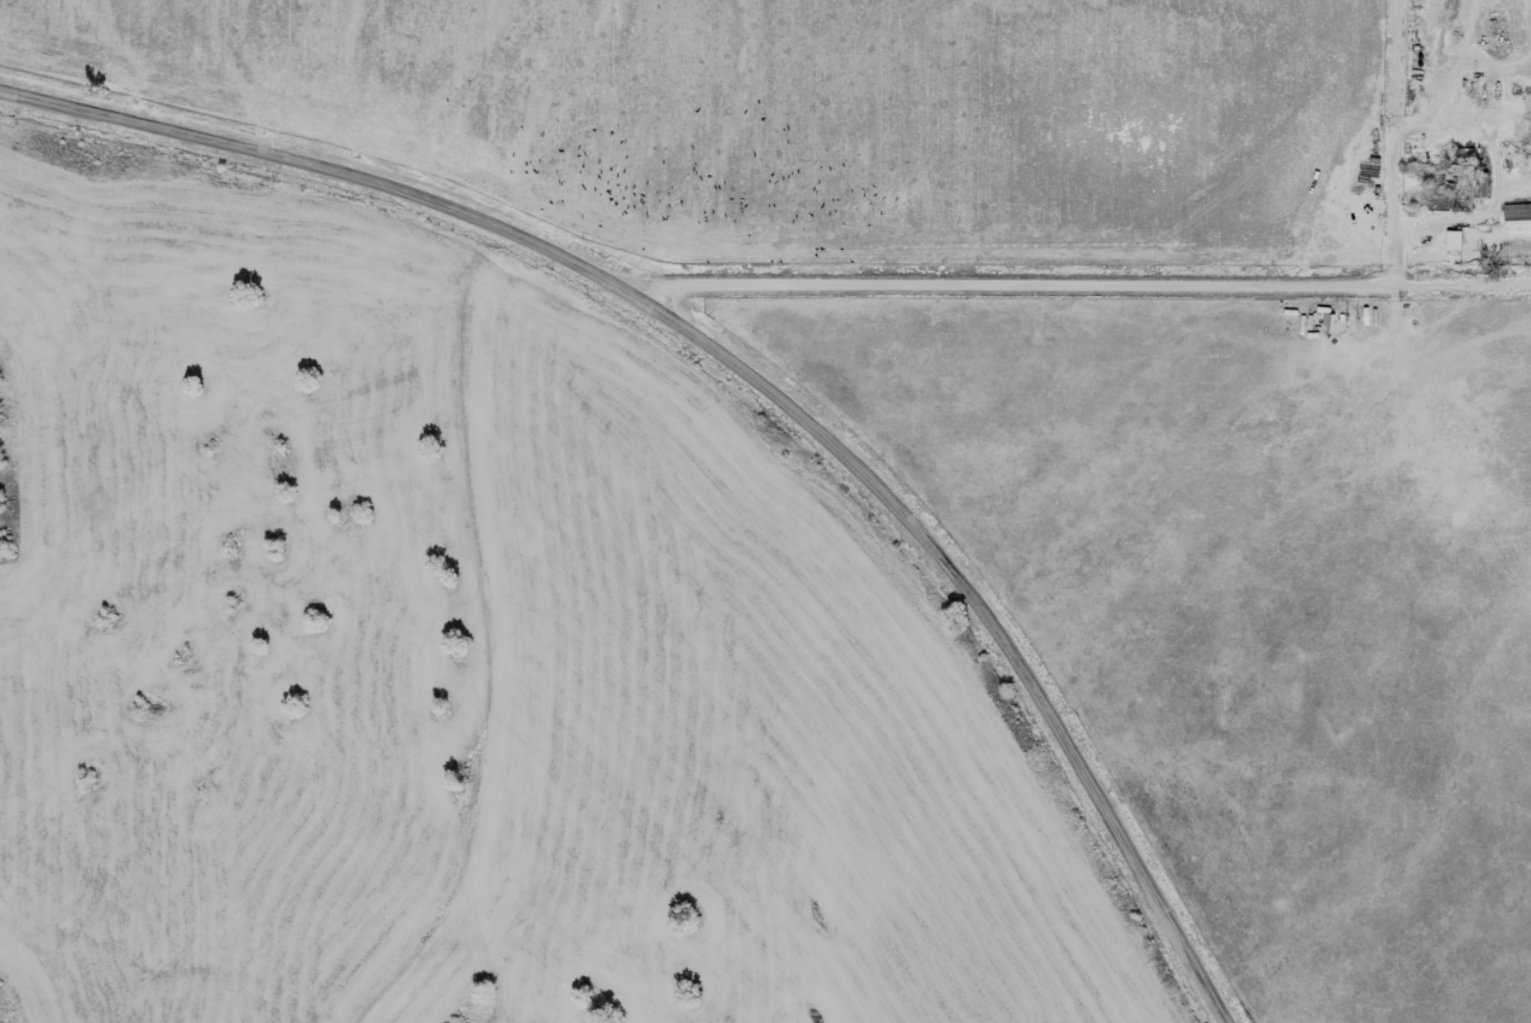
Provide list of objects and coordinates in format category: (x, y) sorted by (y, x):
road: (1408, 142)
road: (322, 171)
building: (1485, 185)
building: (1519, 221)
building: (1458, 240)
road: (1080, 285)
road: (985, 609)

